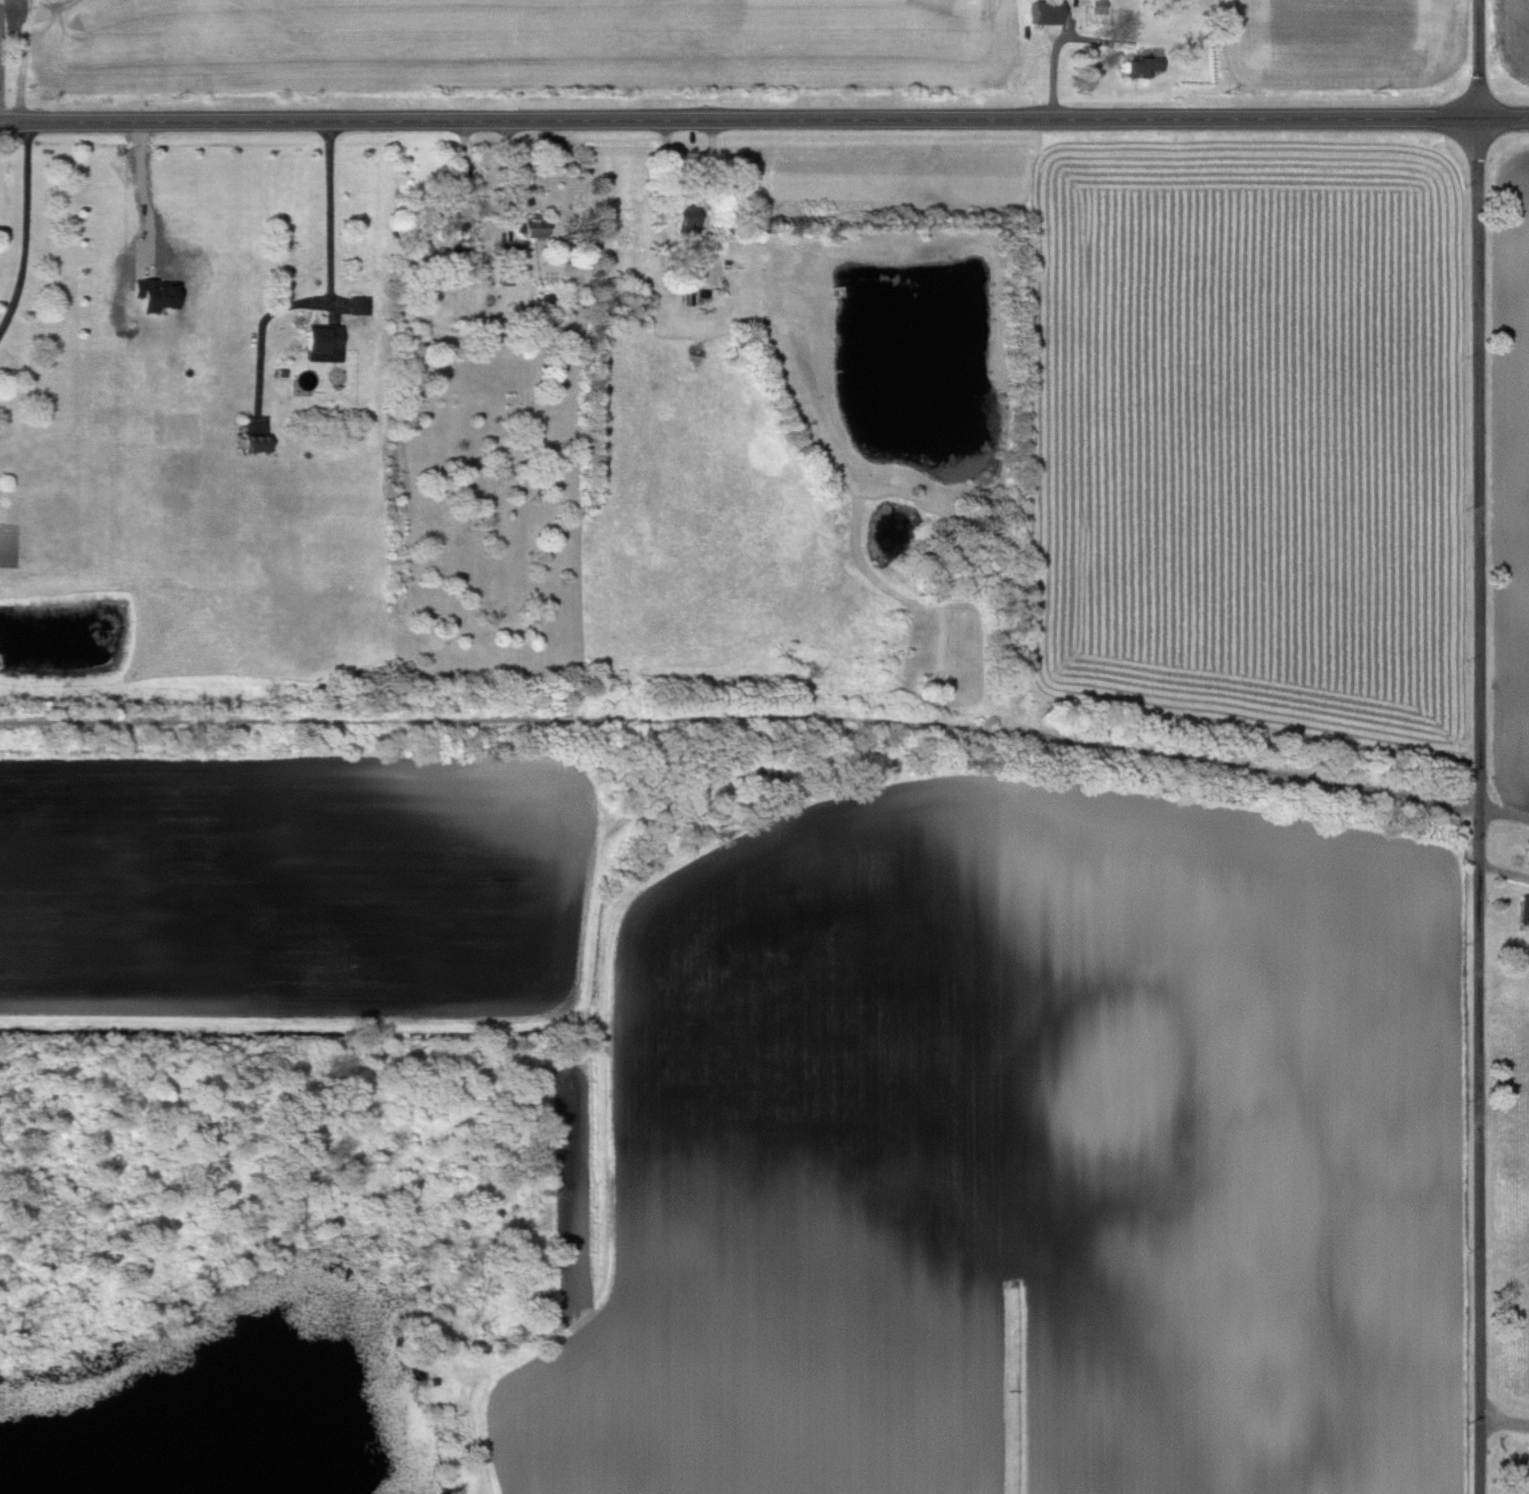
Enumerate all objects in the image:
building: (1100, 7)
building: (1044, 12)
road: (4, 61)
building: (1142, 66)
road: (764, 120)
building: (687, 221)
building: (532, 228)
road: (27, 230)
road: (692, 251)
building: (507, 264)
road: (333, 292)
building: (361, 305)
building: (323, 338)
building: (257, 442)
road: (1482, 747)
building: (1524, 910)
road: (1505, 1420)

